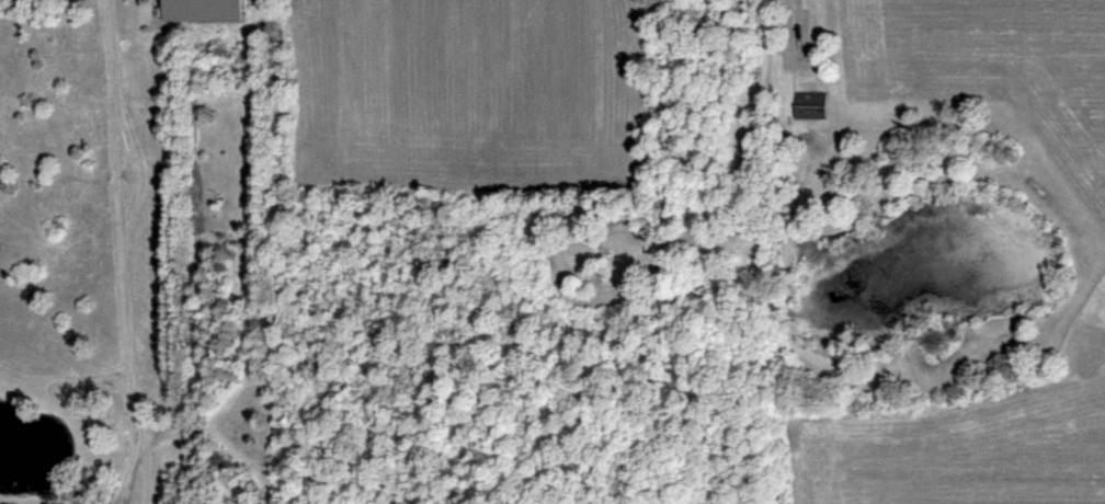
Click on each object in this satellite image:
building: (202, 10)
building: (810, 105)
road: (118, 253)

